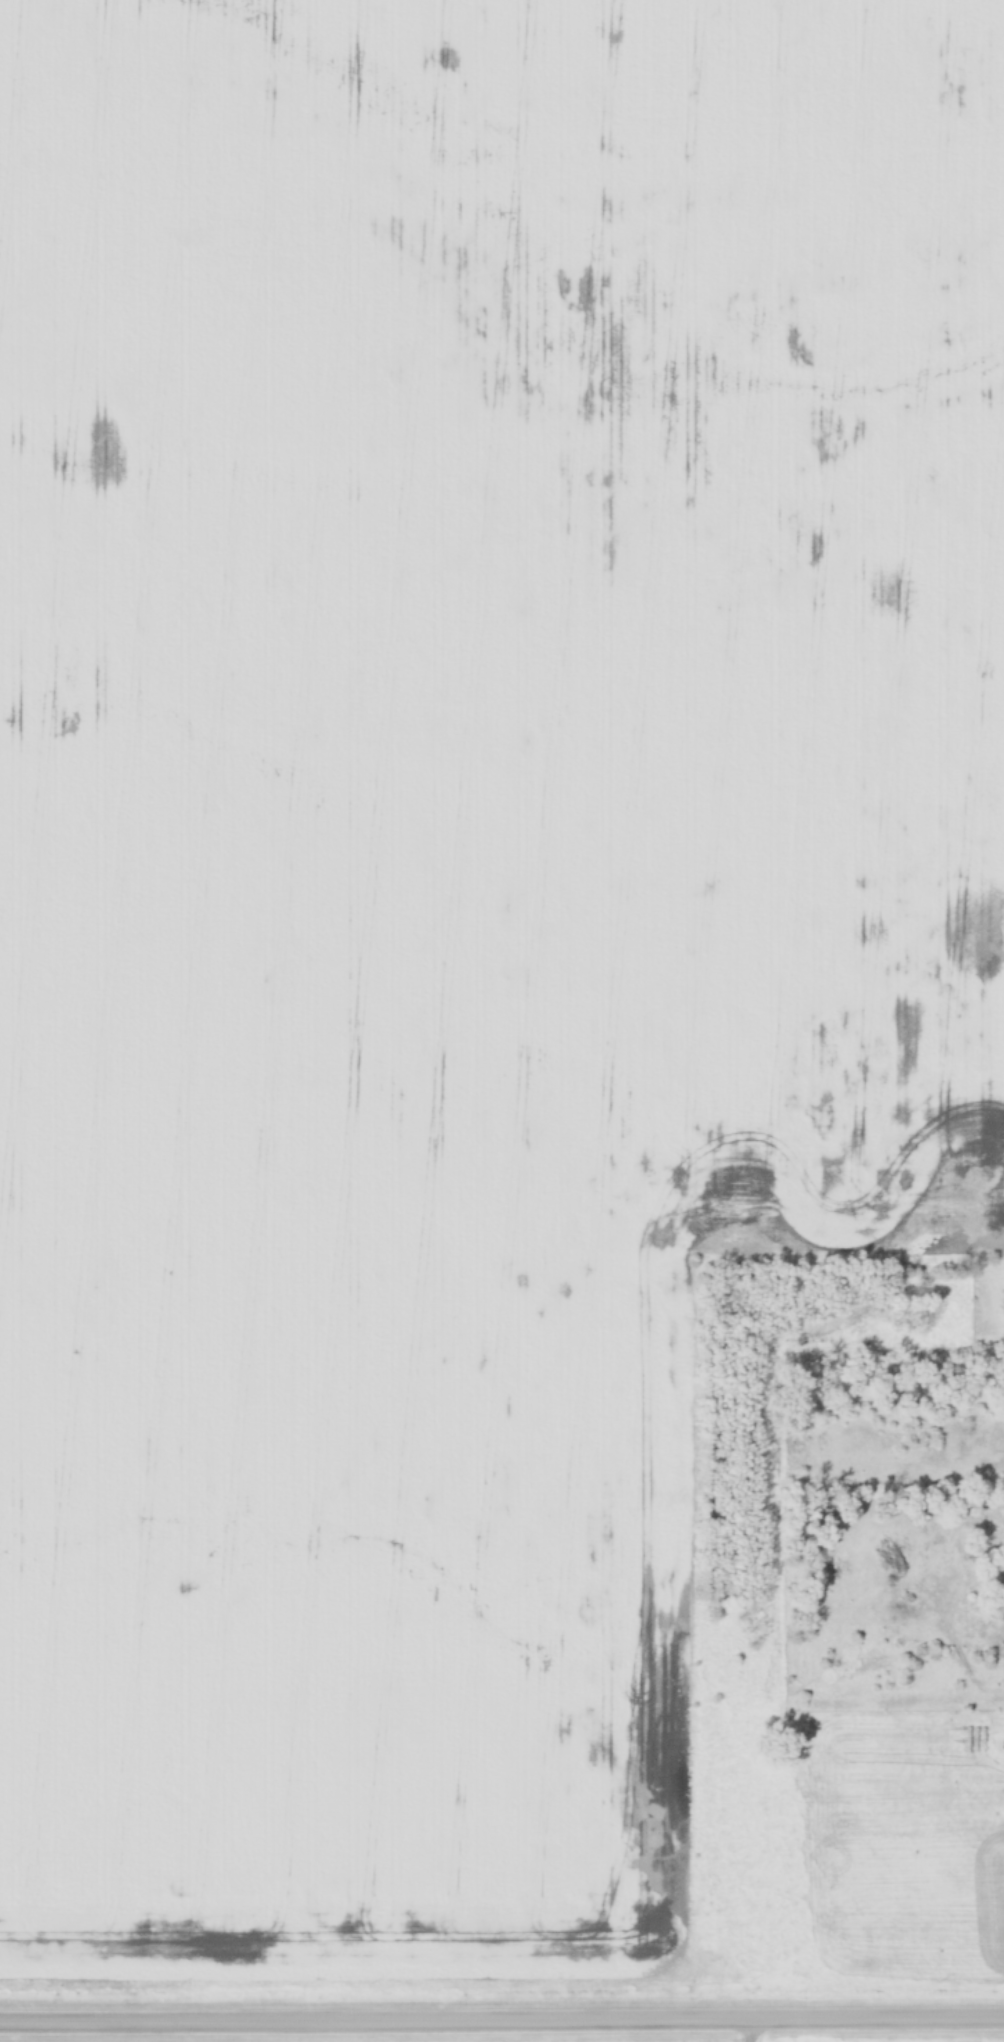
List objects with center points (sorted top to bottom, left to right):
building: (888, 1555)
road: (502, 2025)

